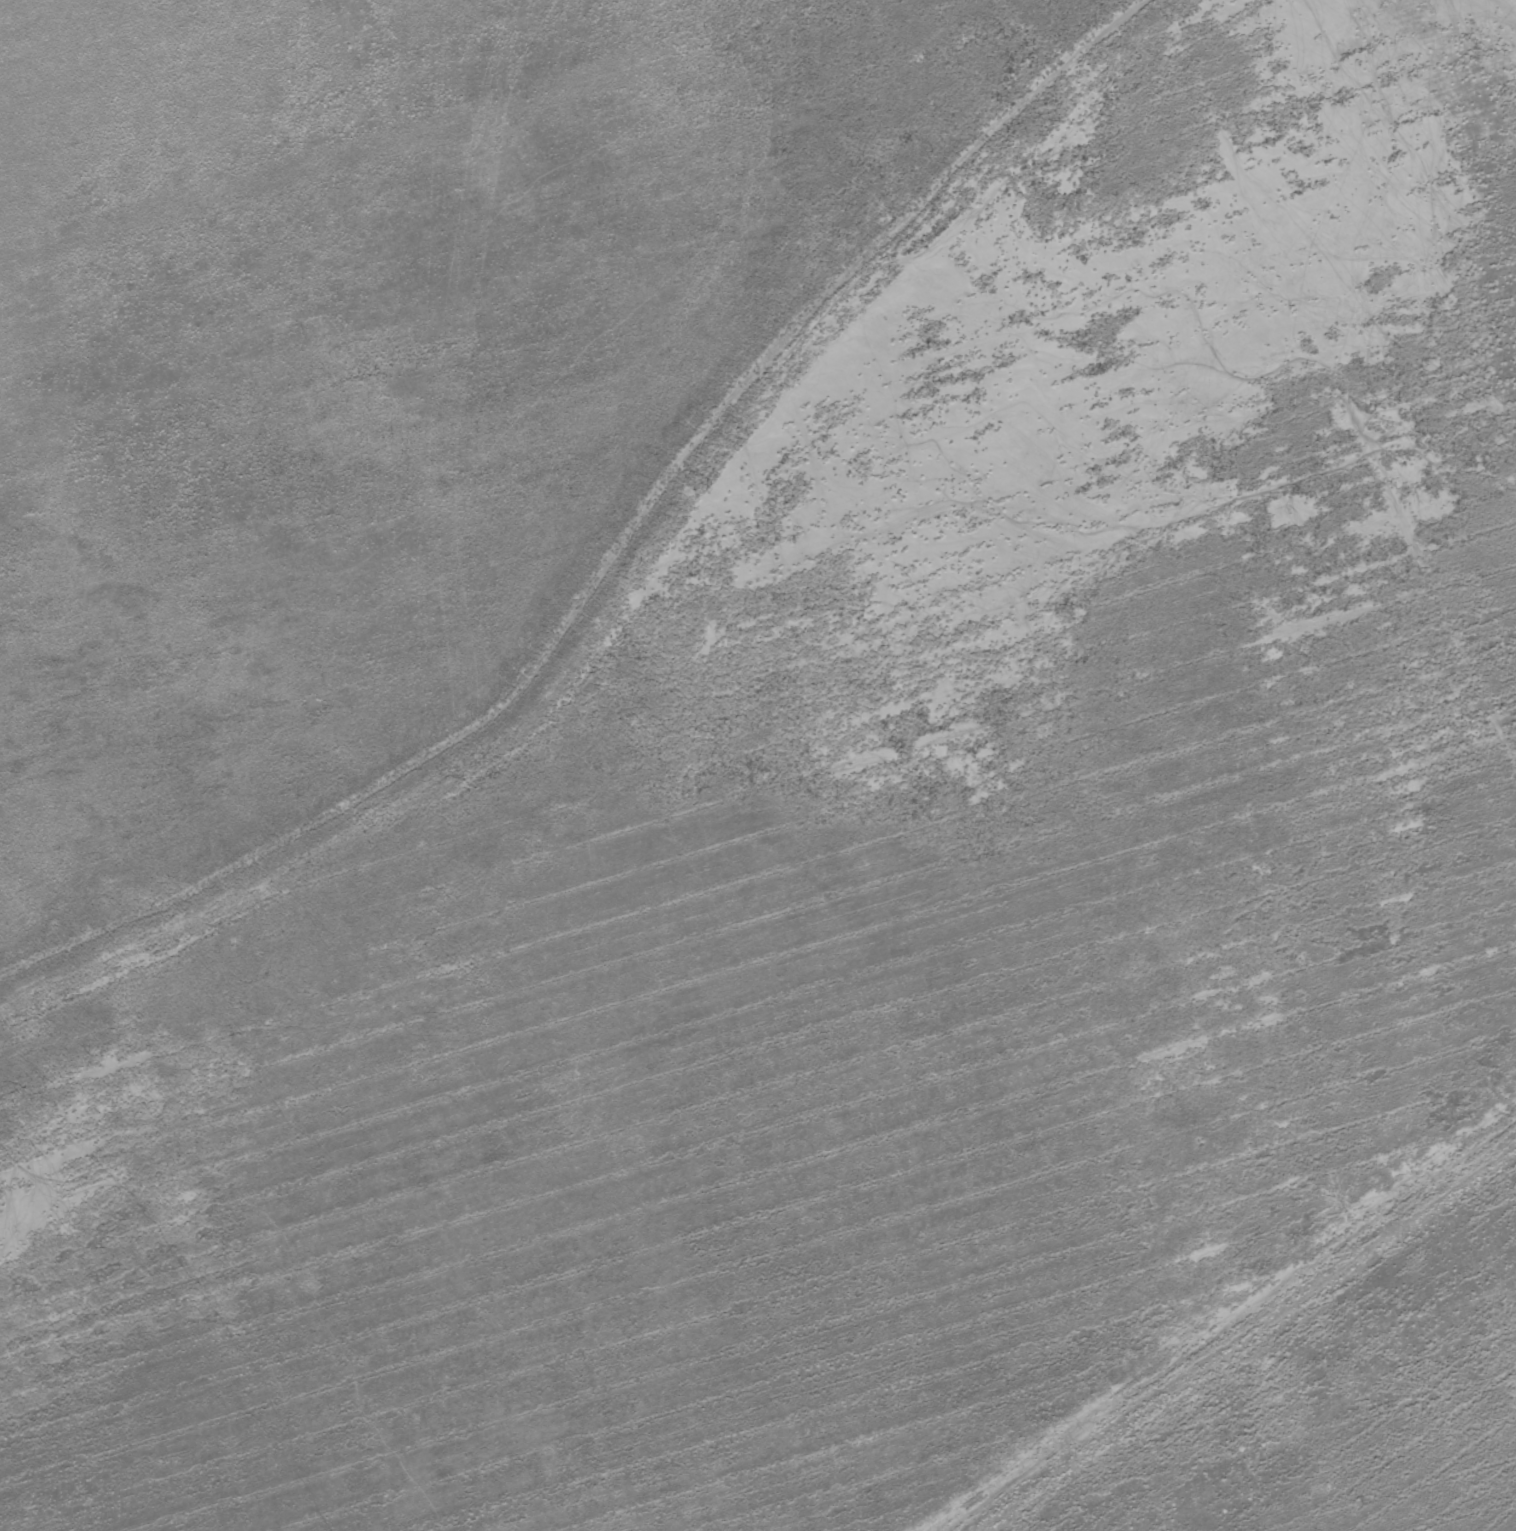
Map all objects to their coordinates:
road: (698, 776)

